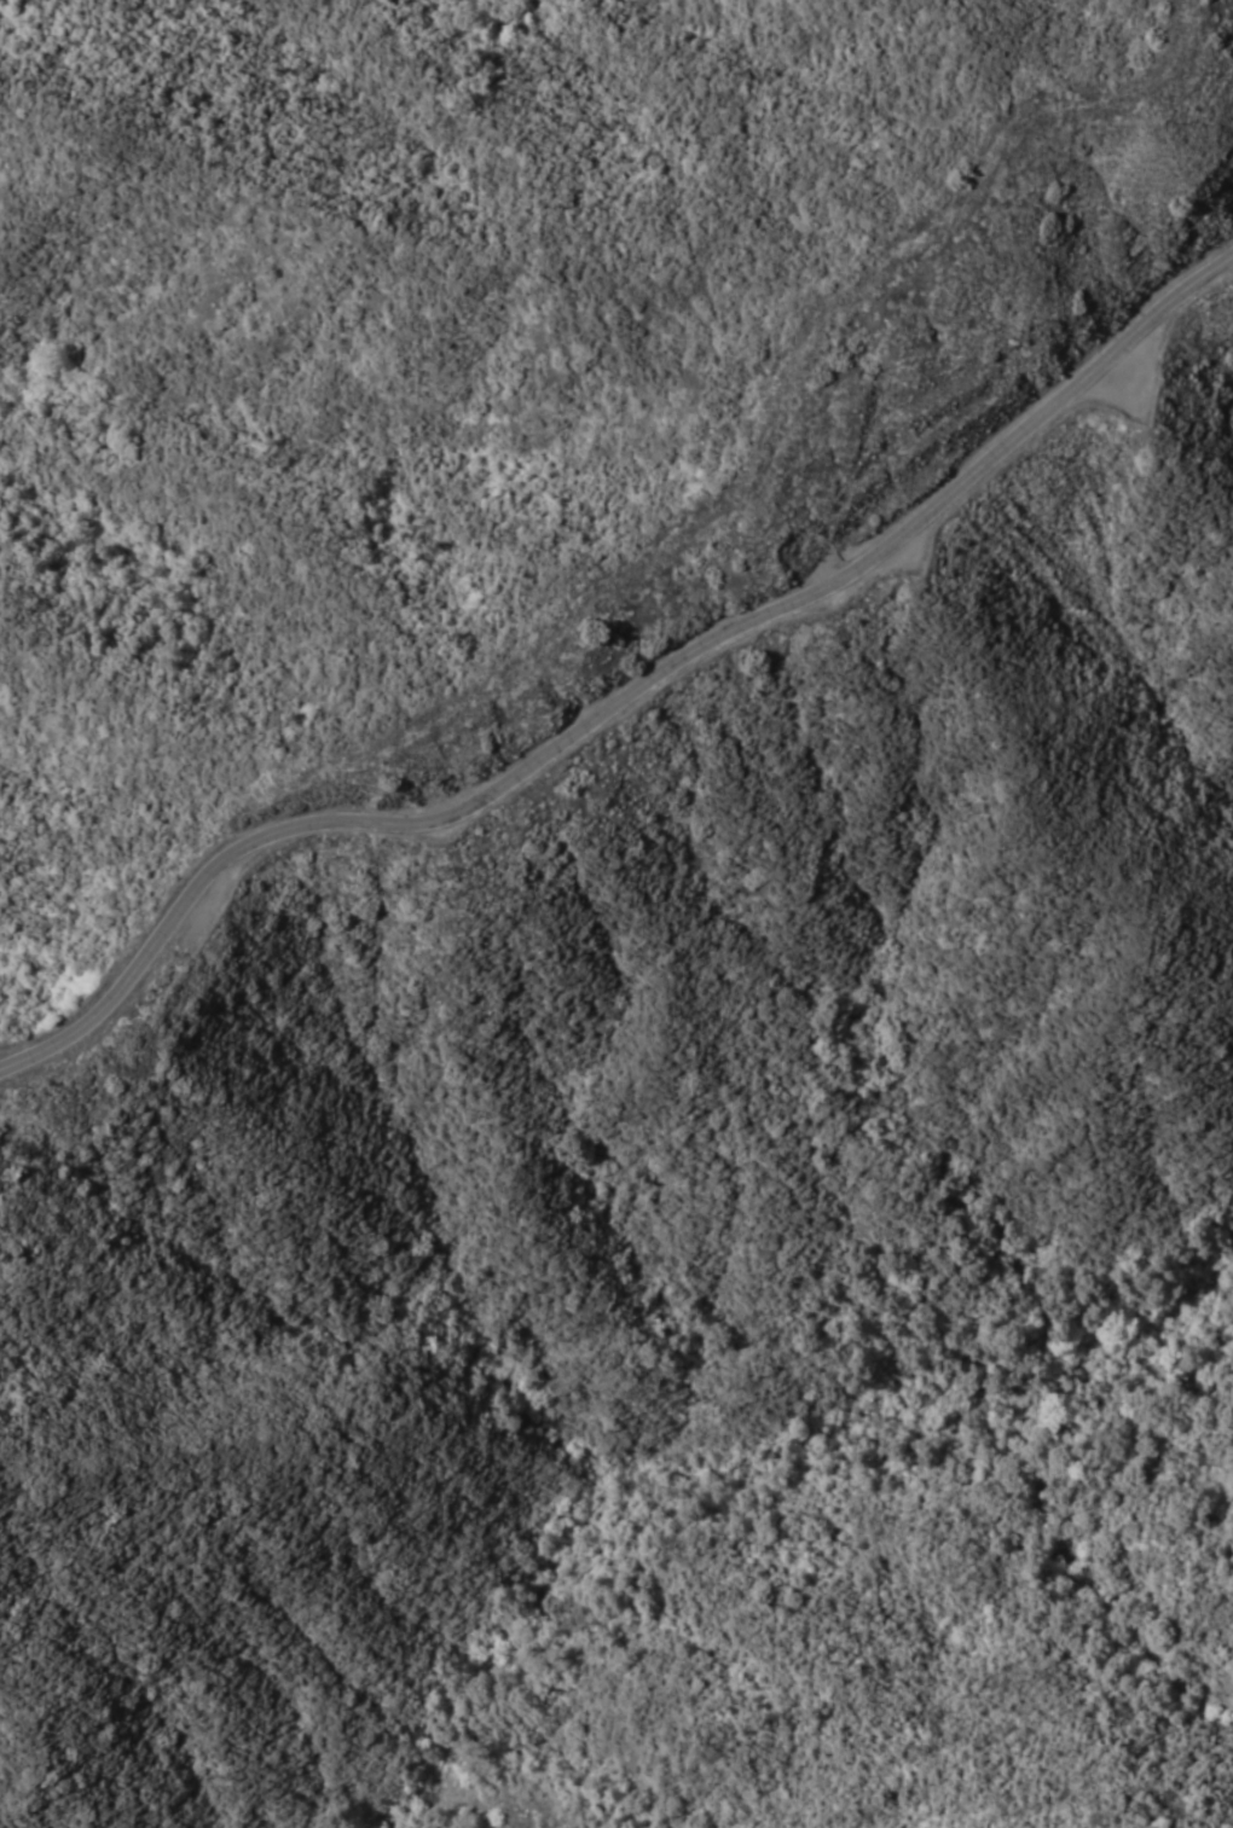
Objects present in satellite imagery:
road: (621, 700)

